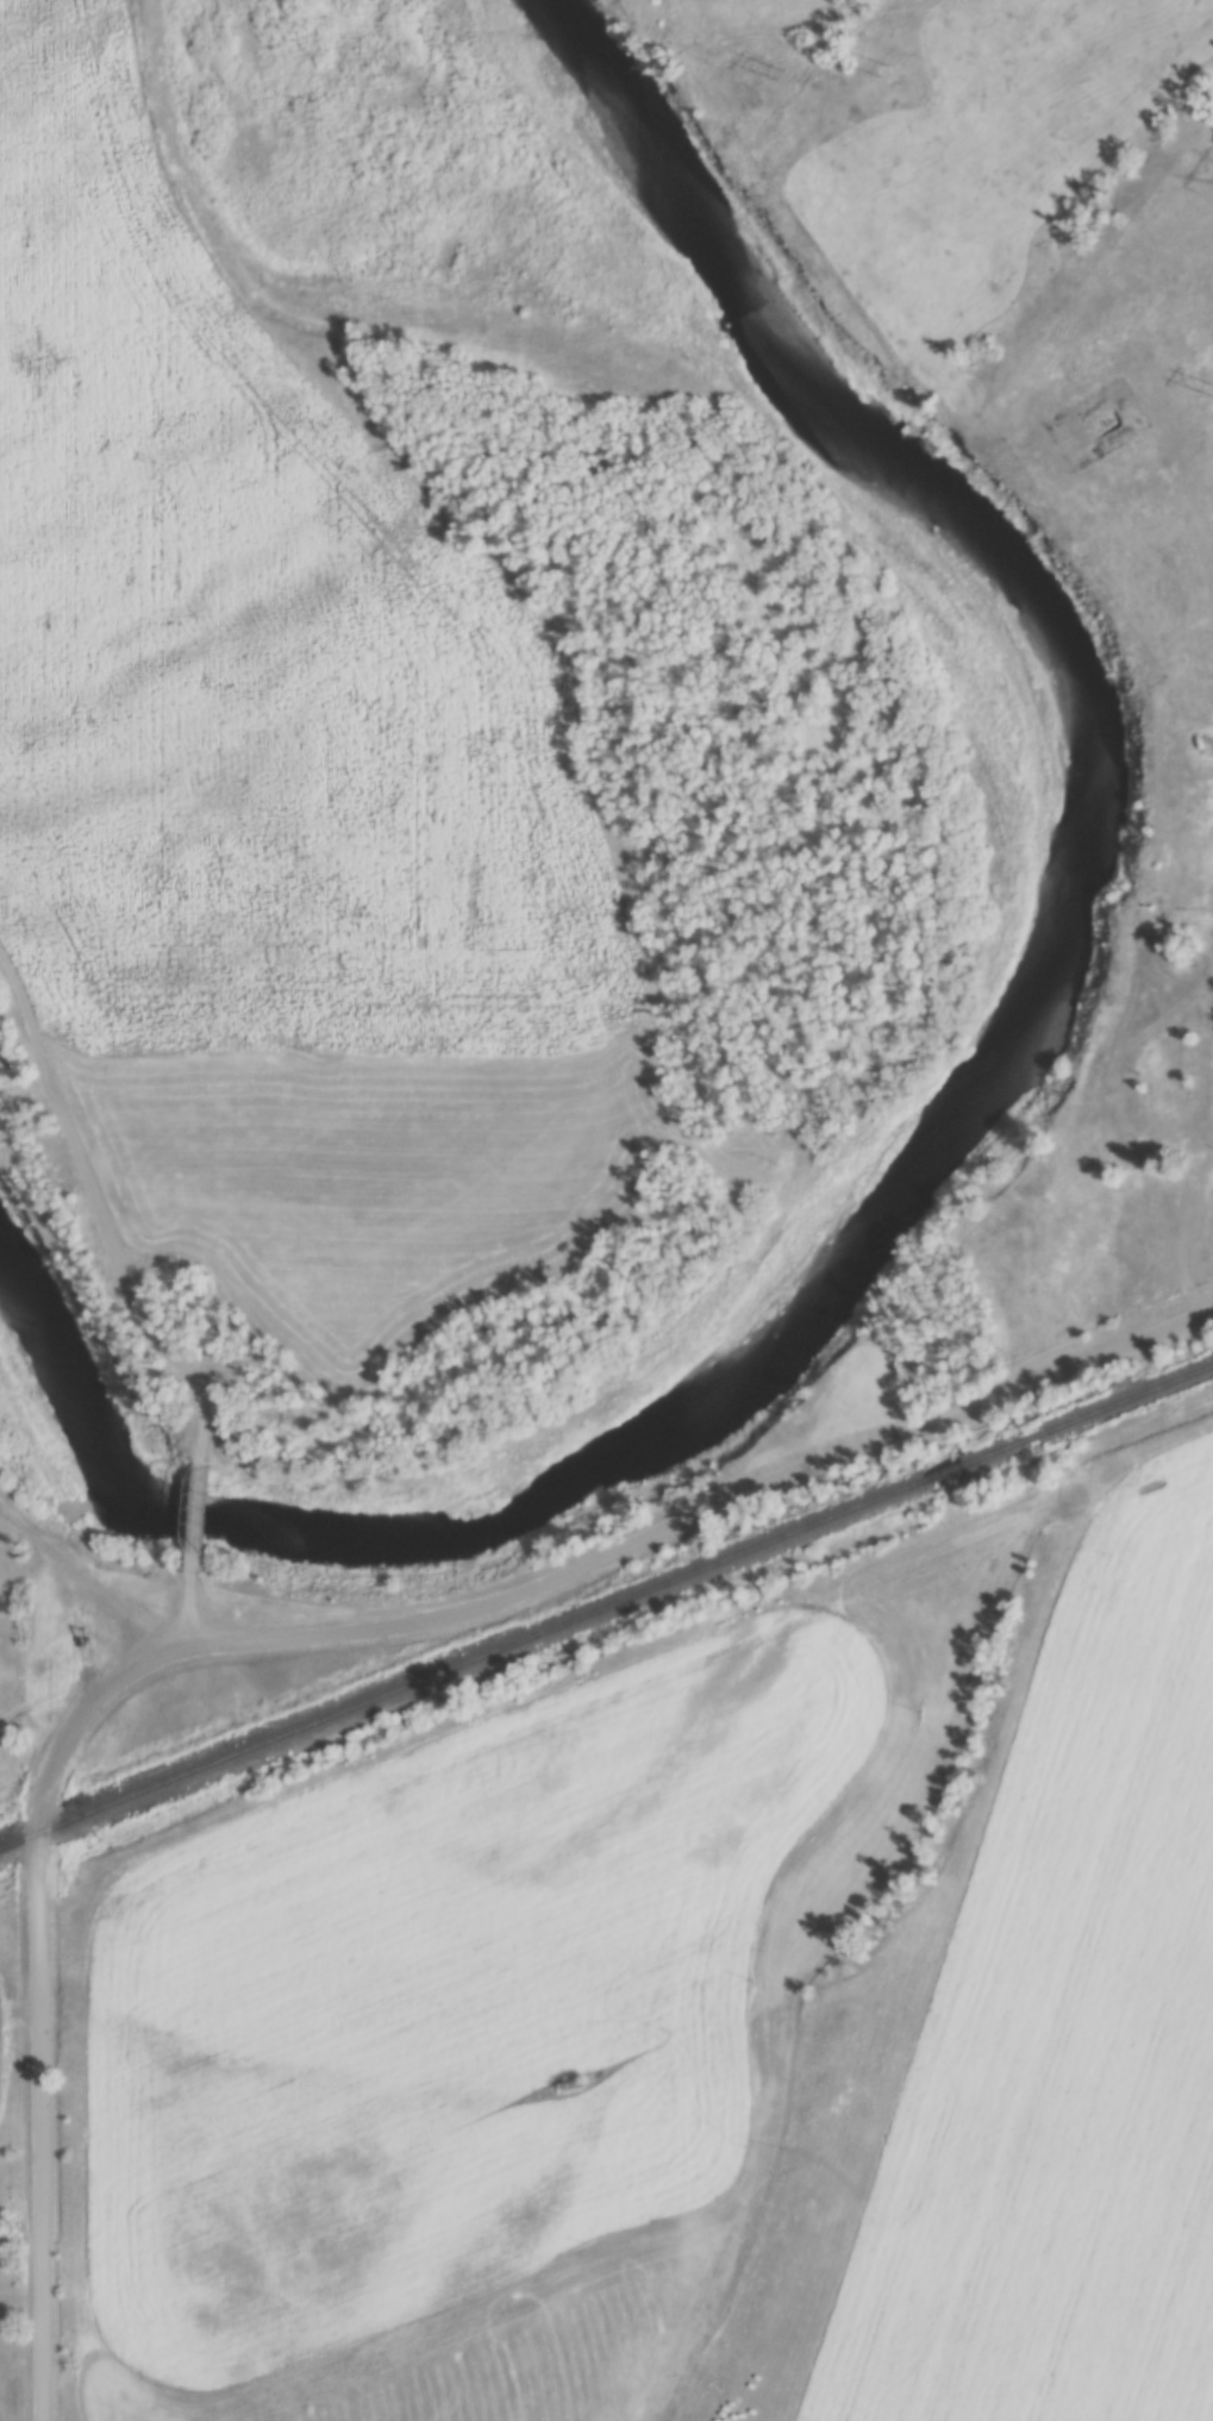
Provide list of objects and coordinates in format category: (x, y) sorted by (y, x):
road: (98, 1214)
road: (195, 1514)
road: (592, 1568)
railway: (606, 1608)
road: (189, 1612)
road: (52, 1696)
road: (39, 2127)

